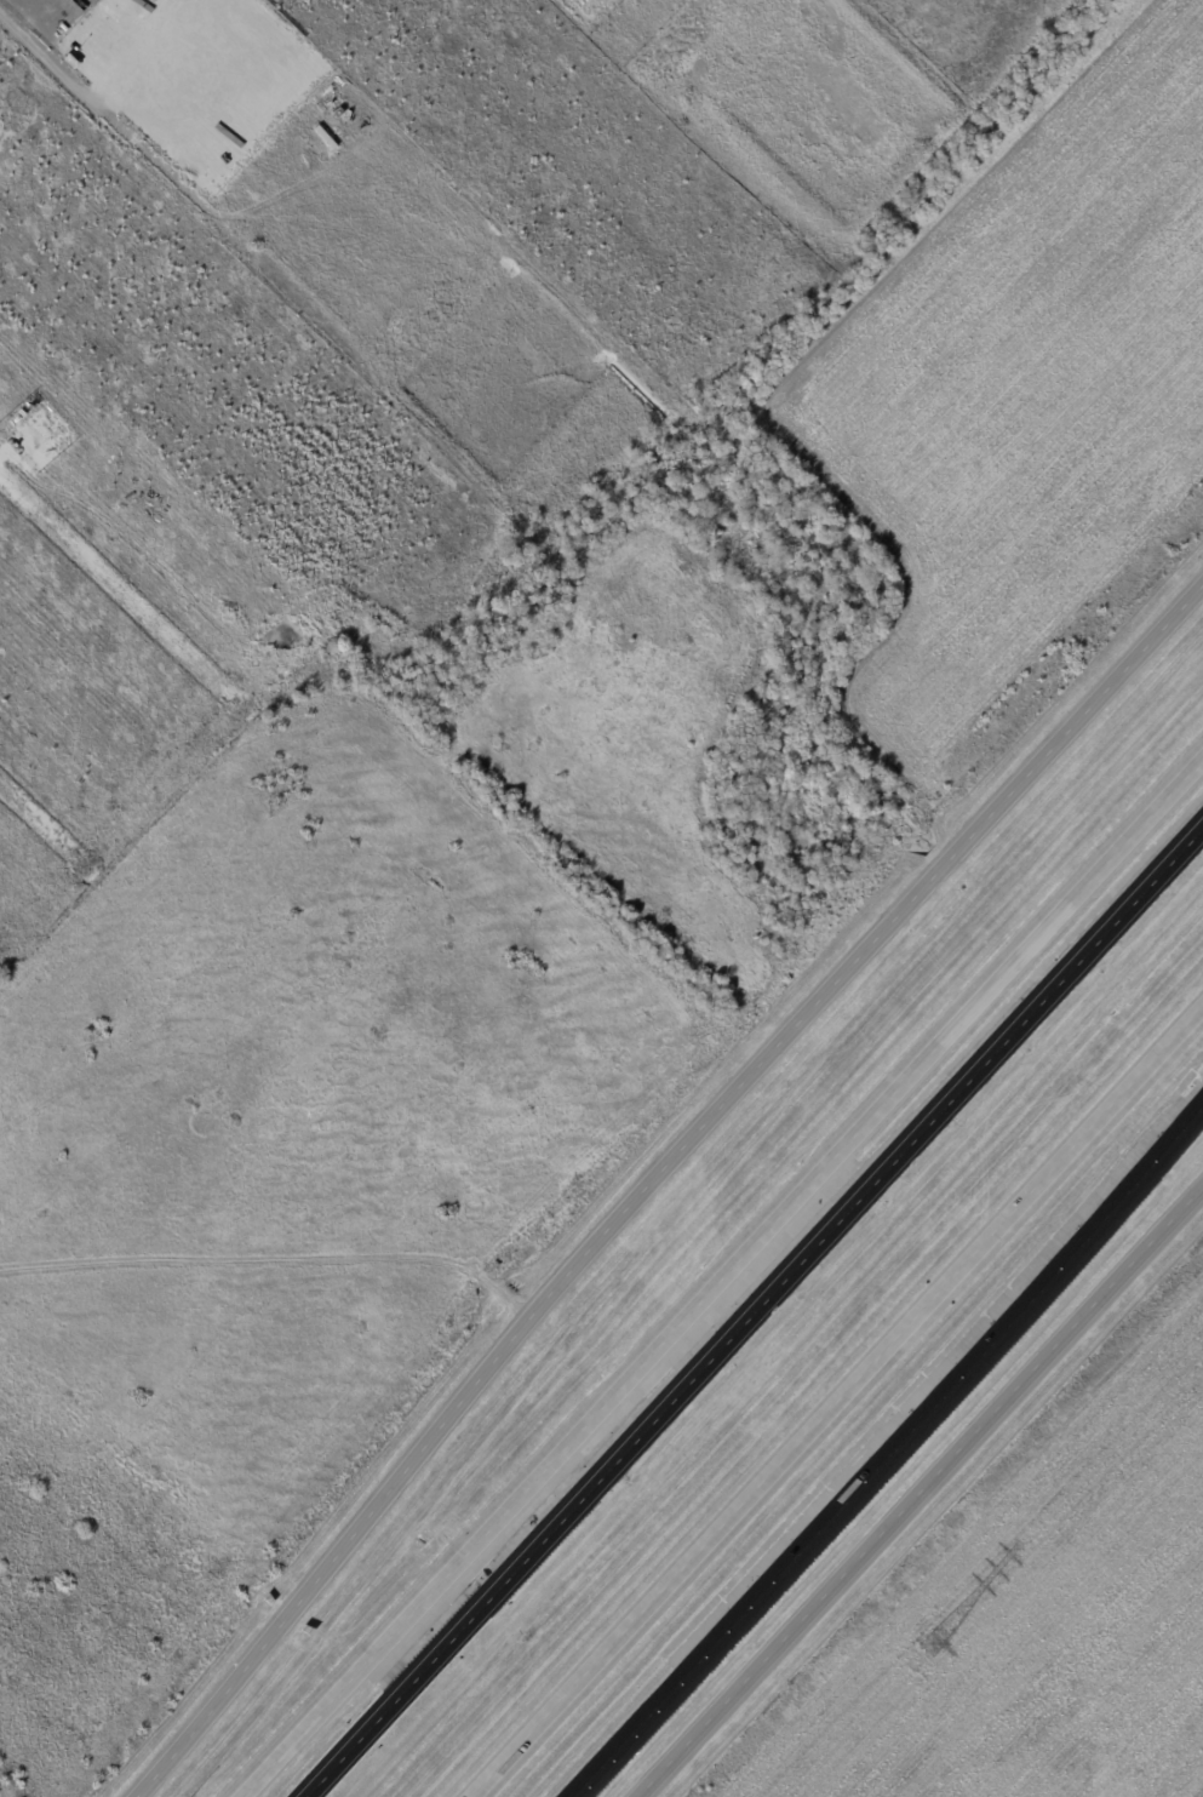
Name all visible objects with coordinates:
road: (666, 1200)
road: (722, 1272)
road: (754, 1312)
road: (838, 1401)
road: (890, 1454)
road: (920, 1490)
power tower: (934, 1641)

